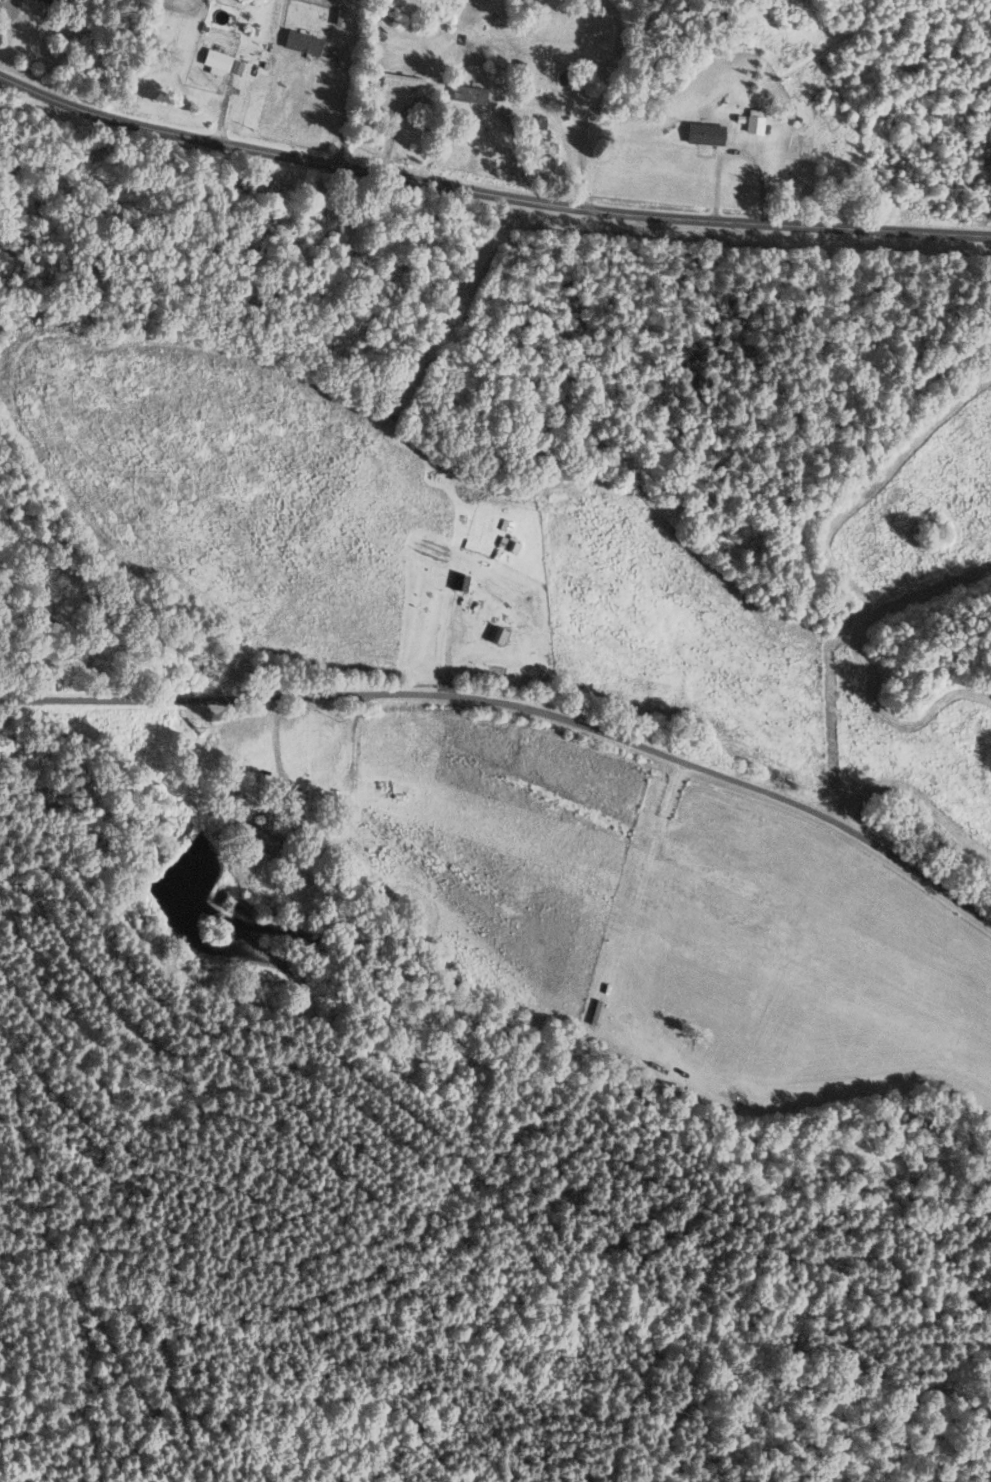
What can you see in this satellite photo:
building: (45, 1)
building: (216, 62)
building: (403, 81)
road: (343, 83)
building: (469, 96)
building: (755, 122)
building: (538, 135)
building: (705, 135)
road: (488, 194)
road: (519, 707)
building: (603, 823)
building: (265, 840)
building: (443, 867)
airport runway: (687, 895)

